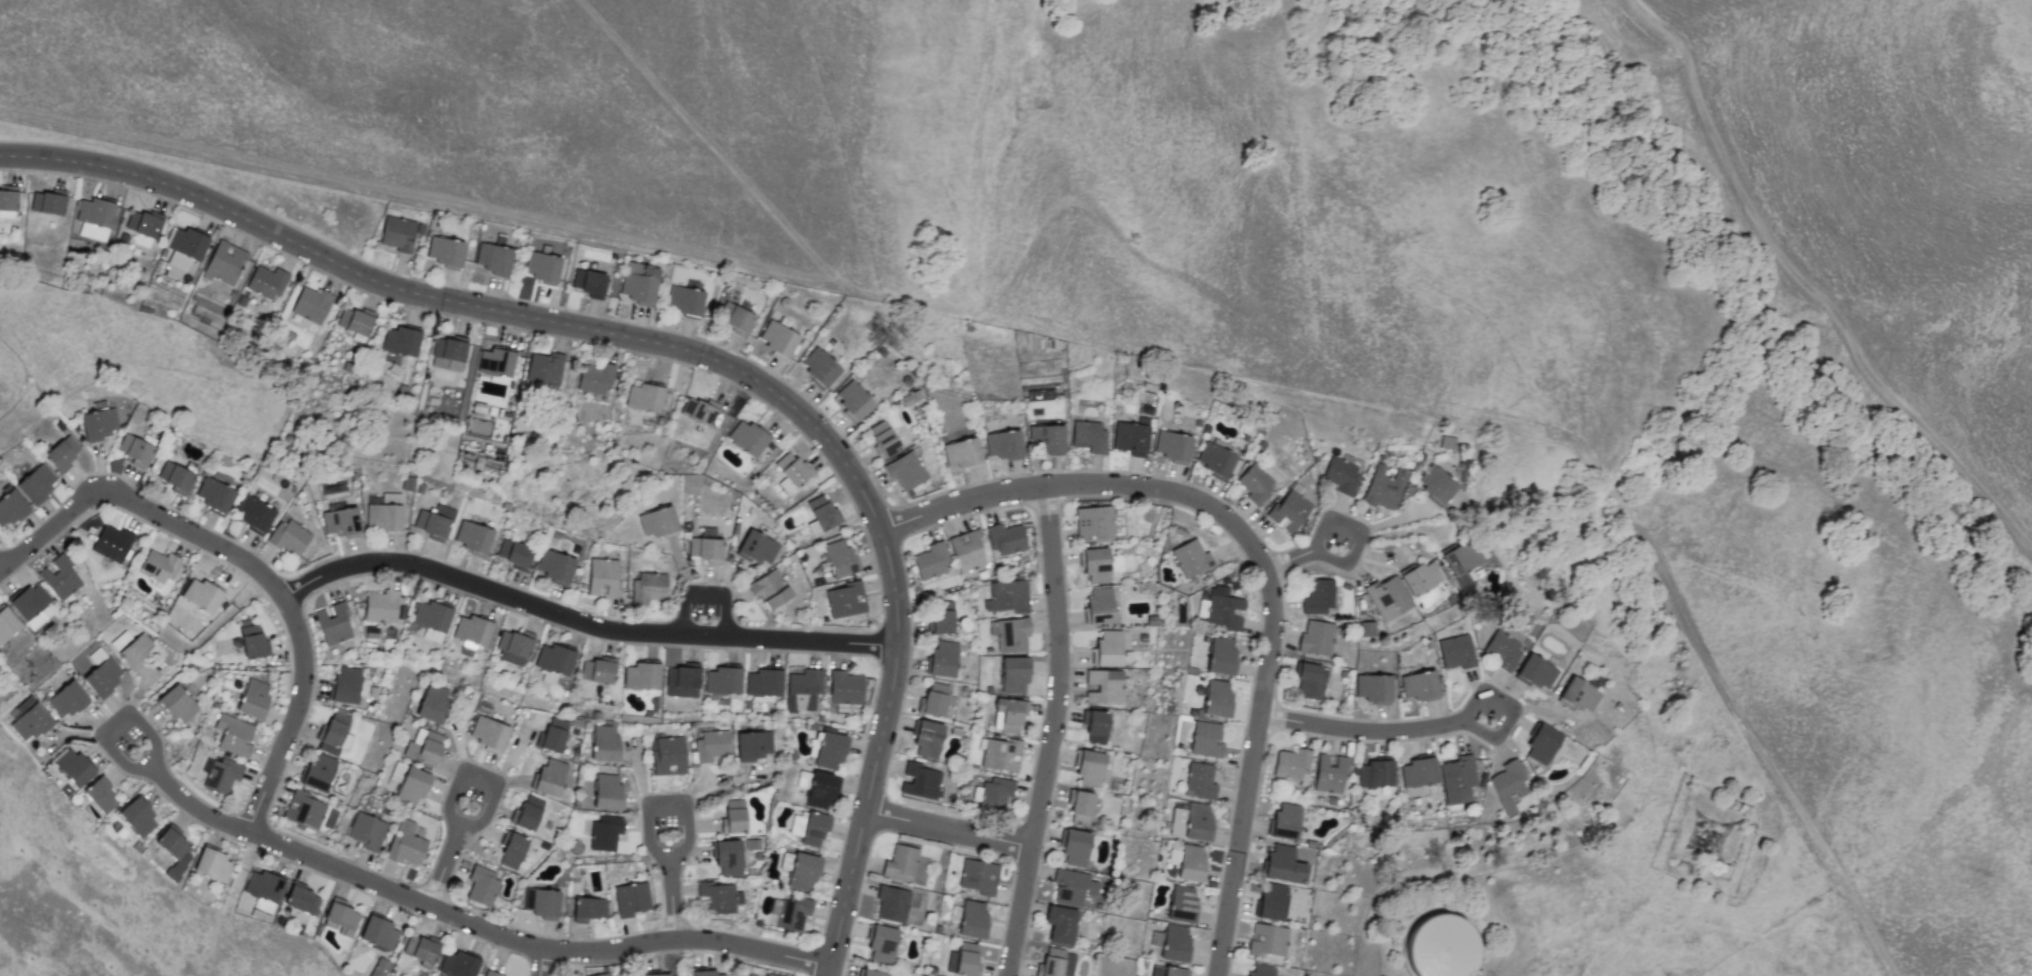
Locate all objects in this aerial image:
road: (707, 143)
building: (7, 201)
building: (48, 202)
road: (487, 211)
building: (94, 217)
building: (143, 223)
building: (397, 234)
building: (184, 246)
building: (444, 252)
building: (492, 259)
building: (224, 263)
building: (542, 267)
crop: (1337, 275)
building: (266, 282)
building: (588, 283)
building: (638, 283)
road: (1811, 284)
building: (684, 302)
building: (311, 305)
building: (735, 318)
building: (355, 321)
building: (778, 340)
building: (401, 341)
road: (691, 352)
building: (448, 353)
building: (545, 368)
building: (819, 368)
building: (595, 378)
road: (1382, 392)
building: (644, 398)
building: (909, 399)
building: (852, 401)
building: (698, 411)
building: (98, 424)
building: (500, 431)
building: (1087, 436)
building: (1129, 437)
building: (747, 438)
building: (882, 439)
building: (1046, 439)
building: (1002, 445)
building: (1172, 447)
building: (134, 450)
building: (61, 453)
building: (960, 454)
building: (1215, 459)
building: (791, 469)
building: (904, 471)
building: (177, 476)
building: (1341, 476)
building: (35, 484)
road: (1084, 484)
building: (1254, 484)
building: (1435, 484)
building: (1383, 488)
building: (213, 495)
road: (141, 505)
building: (10, 508)
building: (1288, 511)
building: (253, 513)
building: (384, 513)
building: (822, 513)
building: (339, 522)
building: (434, 522)
building: (657, 523)
building: (1093, 523)
building: (288, 537)
building: (473, 538)
building: (1005, 539)
building: (111, 544)
building: (705, 547)
building: (757, 548)
building: (967, 551)
building: (514, 554)
road: (1354, 555)
building: (838, 558)
building: (1190, 558)
building: (1461, 558)
building: (931, 561)
building: (1095, 565)
building: (555, 567)
building: (159, 568)
road: (4, 569)
building: (59, 578)
building: (602, 578)
building: (1419, 578)
building: (648, 588)
building: (769, 589)
road: (704, 594)
building: (202, 595)
building: (1318, 596)
building: (1006, 597)
building: (1386, 598)
building: (844, 600)
building: (29, 602)
building: (1099, 605)
building: (380, 606)
building: (1200, 608)
building: (1222, 608)
building: (431, 616)
building: (941, 617)
road: (581, 623)
building: (7, 624)
building: (333, 624)
building: (472, 630)
building: (1011, 634)
building: (1316, 638)
building: (252, 642)
building: (513, 647)
building: (1110, 649)
building: (134, 651)
building: (1502, 651)
building: (1455, 652)
building: (1220, 656)
building: (553, 659)
building: (942, 659)
building: (596, 670)
building: (1535, 673)
building: (641, 675)
building: (1014, 675)
building: (102, 677)
building: (722, 679)
building: (682, 680)
building: (1310, 681)
building: (763, 682)
building: (345, 686)
building: (1103, 686)
building: (1419, 687)
building: (845, 688)
building: (1372, 688)
building: (803, 690)
building: (1579, 695)
building: (934, 699)
building: (1217, 699)
building: (65, 700)
building: (253, 700)
building: (431, 703)
building: (177, 704)
building: (1010, 714)
road: (294, 716)
building: (27, 719)
road: (1436, 726)
building: (1095, 727)
road: (1051, 732)
building: (487, 733)
building: (335, 734)
building: (233, 735)
building: (553, 735)
building: (927, 738)
building: (1205, 740)
building: (603, 743)
building: (752, 744)
building: (1541, 745)
building: (711, 746)
building: (423, 747)
building: (829, 751)
building: (1001, 754)
building: (667, 756)
building: (1292, 765)
building: (73, 767)
building: (1089, 768)
road: (1249, 771)
building: (1418, 771)
building: (318, 772)
building: (1330, 773)
building: (1375, 774)
building: (222, 775)
building: (550, 777)
building: (1457, 779)
building: (920, 781)
building: (1199, 781)
building: (1507, 785)
building: (412, 786)
building: (821, 791)
building: (607, 792)
building: (992, 794)
building: (99, 795)
road: (488, 804)
building: (1080, 808)
building: (303, 810)
building: (528, 813)
building: (734, 815)
building: (137, 816)
building: (1176, 821)
building: (1197, 822)
building: (1283, 822)
building: (808, 828)
road: (691, 829)
road: (949, 829)
building: (366, 831)
building: (604, 833)
building: (405, 844)
building: (1074, 848)
building: (174, 850)
building: (511, 850)
building: (727, 857)
building: (1187, 862)
building: (900, 863)
building: (213, 864)
building: (1283, 865)
building: (799, 870)
building: (977, 876)
building: (481, 885)
building: (263, 886)
building: (1069, 888)
road: (399, 893)
building: (301, 898)
building: (715, 898)
building: (630, 899)
building: (541, 903)
building: (1271, 903)
building: (892, 904)
building: (1181, 904)
building: (588, 909)
building: (788, 913)
building: (340, 916)
building: (971, 920)
building: (1060, 925)
building: (379, 933)
building: (1267, 941)
building: (881, 943)
building: (1171, 943)
building: (1441, 946)
storage tank: (1441, 946)
building: (424, 949)
building: (966, 960)
road: (537, 963)
building: (1057, 963)
building: (458, 964)
building: (379, 967)
building: (1167, 971)
building: (1261, 971)
building: (491, 973)
building: (704, 973)
building: (872, 973)
building: (602, 974)
building: (767, 974)
building: (657, 975)

